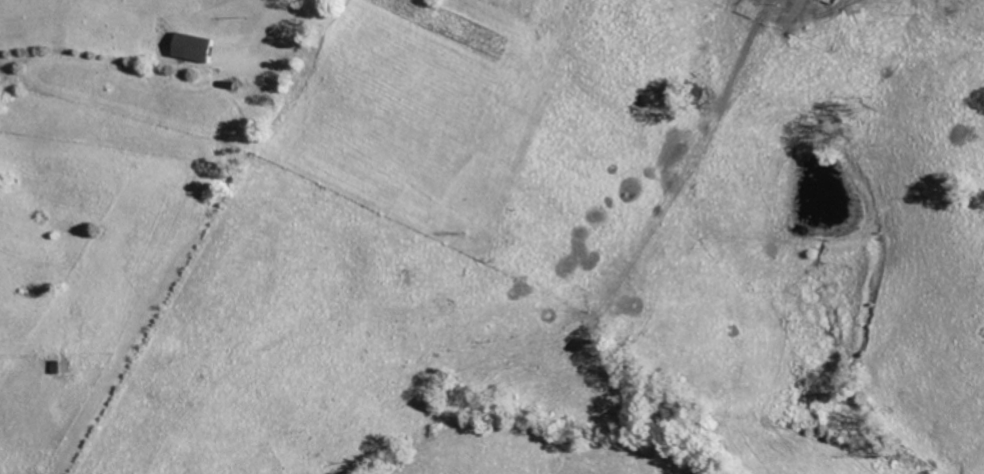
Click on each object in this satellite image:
building: (198, 47)

